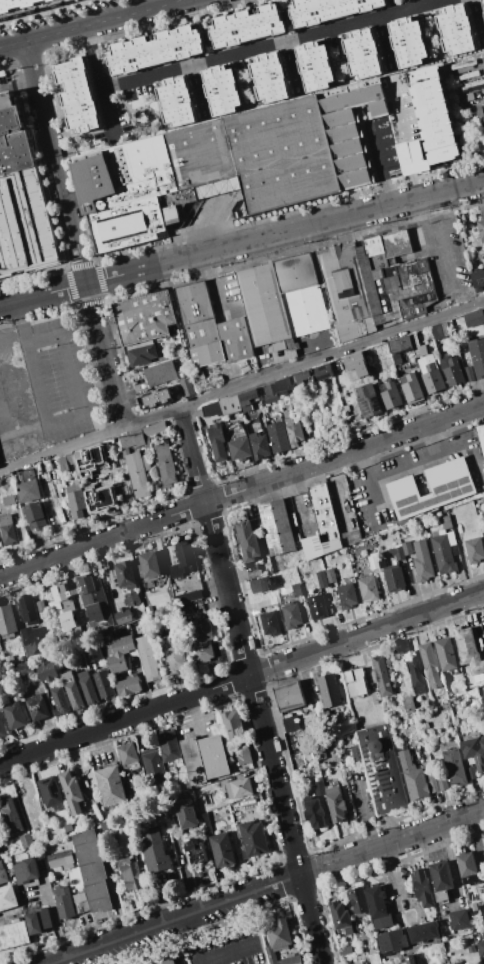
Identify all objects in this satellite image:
road: (429, 2)
building: (483, 2)
road: (416, 3)
building: (18, 4)
building: (328, 10)
road: (90, 22)
building: (247, 26)
building: (456, 30)
road: (273, 42)
building: (408, 42)
building: (153, 50)
building: (362, 53)
building: (315, 66)
building: (465, 73)
road: (99, 78)
building: (270, 78)
building: (222, 90)
building: (78, 96)
building: (176, 102)
road: (397, 110)
building: (433, 115)
building: (483, 115)
building: (350, 132)
road: (407, 158)
building: (411, 158)
road: (379, 169)
building: (205, 171)
road: (414, 187)
building: (21, 197)
building: (481, 228)
road: (74, 233)
road: (435, 242)
road: (241, 243)
building: (394, 277)
building: (478, 280)
road: (212, 285)
building: (347, 292)
building: (301, 294)
building: (194, 303)
building: (263, 304)
building: (237, 312)
building: (144, 317)
building: (474, 318)
road: (21, 322)
building: (445, 329)
building: (437, 332)
building: (201, 333)
building: (235, 339)
road: (13, 345)
building: (285, 346)
building: (399, 348)
building: (377, 349)
building: (141, 354)
building: (207, 354)
building: (477, 356)
building: (356, 364)
building: (451, 369)
building: (160, 372)
building: (322, 372)
building: (469, 373)
building: (302, 376)
road: (16, 377)
building: (432, 378)
building: (198, 379)
road: (36, 385)
parking lot: (43, 385)
road: (242, 385)
building: (283, 385)
building: (412, 389)
building: (270, 393)
building: (391, 395)
building: (155, 398)
road: (74, 399)
building: (247, 399)
building: (368, 400)
building: (222, 407)
building: (294, 432)
building: (141, 434)
building: (481, 435)
building: (277, 436)
building: (316, 436)
road: (430, 440)
building: (216, 442)
building: (259, 445)
building: (239, 448)
building: (88, 458)
building: (65, 462)
building: (146, 462)
building: (165, 463)
road: (411, 463)
road: (357, 466)
building: (137, 474)
building: (28, 486)
building: (432, 488)
road: (242, 491)
building: (99, 497)
building: (8, 500)
building: (77, 501)
building: (35, 516)
building: (446, 522)
building: (322, 525)
building: (276, 527)
building: (7, 530)
building: (483, 534)
building: (451, 537)
building: (247, 539)
building: (406, 548)
building: (474, 550)
building: (397, 553)
building: (443, 554)
building: (183, 557)
building: (422, 561)
building: (373, 562)
building: (149, 565)
building: (125, 575)
building: (330, 575)
building: (321, 578)
building: (394, 579)
building: (260, 585)
building: (368, 588)
building: (296, 590)
building: (347, 595)
building: (189, 596)
building: (92, 598)
building: (132, 599)
building: (264, 605)
building: (41, 606)
building: (62, 606)
building: (317, 608)
building: (28, 610)
building: (292, 615)
building: (124, 617)
building: (7, 622)
building: (270, 623)
building: (38, 639)
building: (201, 641)
building: (468, 649)
building: (120, 653)
building: (174, 653)
building: (445, 653)
building: (93, 654)
building: (148, 657)
building: (10, 660)
building: (429, 664)
building: (21, 670)
building: (47, 671)
building: (382, 675)
building: (416, 675)
road: (241, 677)
building: (355, 681)
building: (104, 683)
road: (253, 685)
building: (129, 686)
building: (88, 687)
building: (73, 690)
building: (330, 690)
building: (289, 696)
building: (482, 699)
building: (61, 700)
building: (37, 706)
building: (15, 714)
road: (191, 714)
building: (291, 723)
building: (3, 727)
building: (233, 727)
building: (170, 748)
building: (474, 751)
building: (128, 756)
building: (214, 756)
building: (244, 757)
building: (194, 762)
building: (153, 766)
building: (454, 766)
building: (381, 768)
building: (471, 773)
building: (412, 777)
building: (432, 781)
building: (441, 782)
building: (110, 785)
building: (241, 788)
building: (319, 788)
building: (71, 789)
building: (50, 791)
building: (336, 804)
road: (364, 811)
building: (314, 812)
building: (186, 814)
building: (10, 816)
building: (253, 839)
building: (26, 841)
road: (391, 842)
building: (0, 850)
building: (222, 850)
building: (196, 851)
building: (156, 853)
building: (61, 859)
road: (451, 863)
road: (395, 866)
building: (467, 867)
building: (27, 870)
building: (92, 870)
building: (130, 872)
building: (3, 874)
building: (440, 875)
building: (422, 887)
building: (442, 895)
building: (470, 896)
building: (7, 897)
building: (358, 900)
building: (63, 902)
building: (81, 907)
building: (378, 907)
building: (482, 909)
building: (341, 918)
road: (178, 919)
building: (459, 919)
building: (38, 921)
road: (55, 921)
building: (425, 933)
building: (14, 935)
building: (279, 935)
building: (392, 942)
building: (480, 948)
building: (345, 950)
building: (270, 955)
building: (375, 958)
road: (203, 959)
building: (407, 959)
building: (165, 960)
building: (292, 960)

